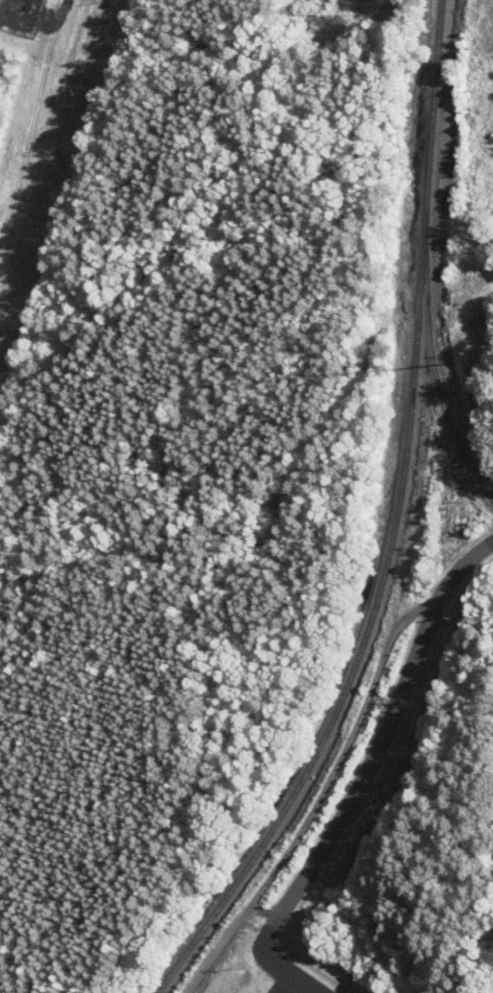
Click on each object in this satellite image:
railway: (394, 527)
road: (362, 775)

